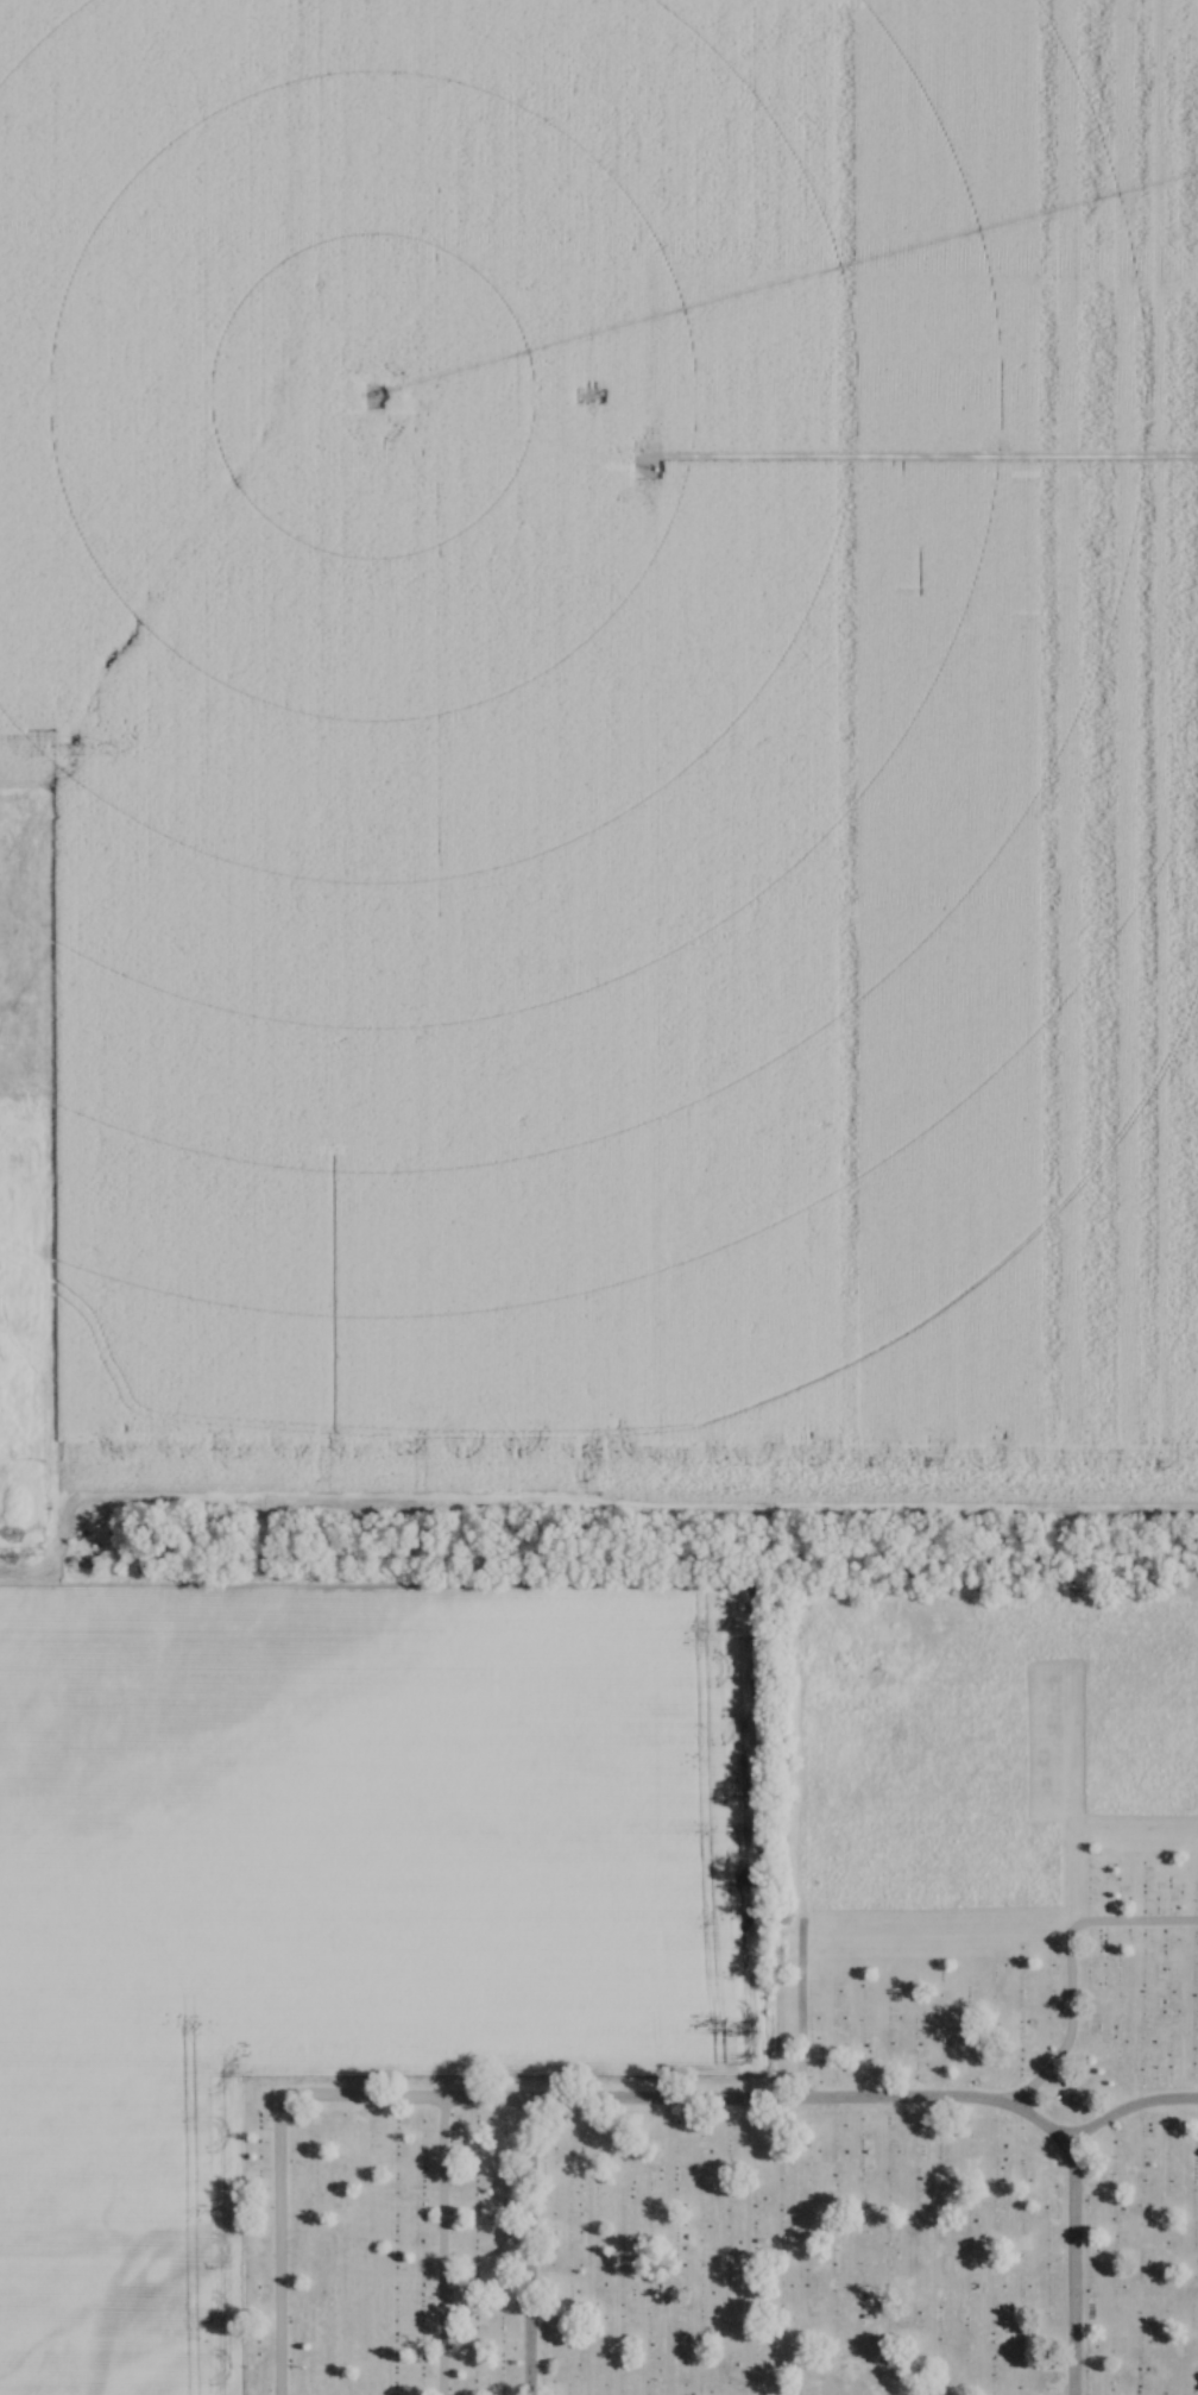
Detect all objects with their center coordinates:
road: (1066, 1970)
road: (578, 2105)
road: (1095, 2127)
park: (767, 2186)
road: (527, 2250)
road: (1068, 2270)

